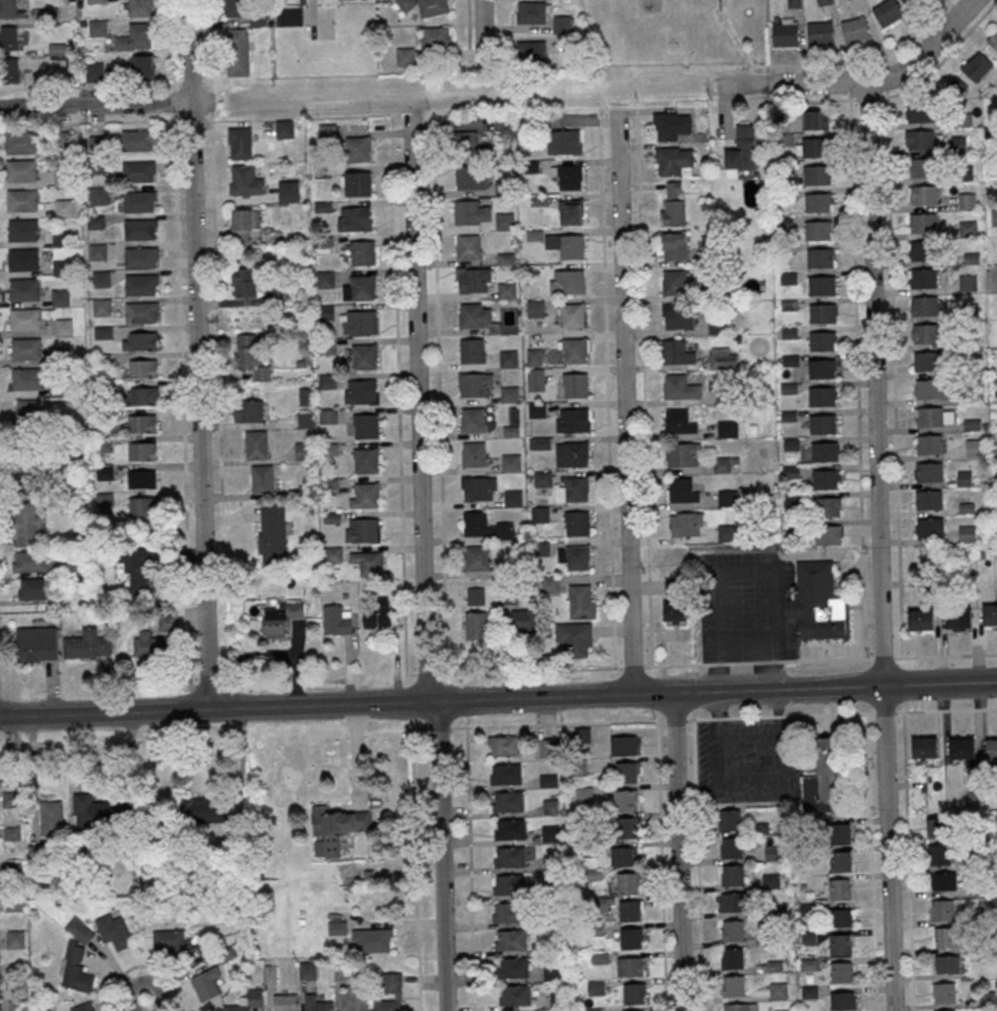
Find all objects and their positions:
building: (97, 1)
building: (913, 1)
building: (824, 2)
park: (721, 5)
building: (426, 6)
park: (650, 6)
building: (140, 7)
building: (237, 8)
building: (10, 9)
building: (63, 10)
building: (532, 12)
building: (888, 12)
building: (291, 17)
building: (562, 24)
road: (469, 27)
building: (855, 30)
park: (679, 31)
building: (820, 33)
building: (785, 34)
building: (139, 35)
road: (481, 36)
building: (9, 37)
building: (436, 37)
building: (993, 40)
road: (208, 44)
road: (172, 45)
building: (59, 48)
building: (532, 50)
building: (238, 51)
building: (405, 56)
road: (943, 58)
road: (869, 60)
building: (144, 66)
building: (977, 66)
building: (9, 70)
building: (95, 71)
road: (862, 82)
road: (206, 83)
road: (191, 84)
road: (90, 86)
road: (867, 98)
road: (816, 99)
road: (210, 101)
road: (174, 103)
road: (95, 105)
building: (920, 111)
road: (192, 119)
building: (816, 119)
road: (207, 120)
road: (178, 121)
road: (87, 123)
building: (671, 125)
building: (285, 129)
building: (64, 139)
building: (137, 139)
building: (921, 140)
building: (564, 141)
building: (20, 142)
building: (240, 143)
building: (470, 143)
building: (813, 147)
building: (358, 148)
building: (741, 150)
building: (674, 160)
building: (924, 167)
building: (22, 170)
building: (139, 171)
building: (818, 175)
building: (472, 177)
building: (570, 177)
building: (245, 181)
building: (357, 183)
building: (504, 186)
building: (289, 191)
building: (924, 195)
building: (99, 196)
building: (22, 200)
building: (539, 200)
building: (967, 200)
building: (140, 202)
building: (819, 202)
building: (673, 204)
building: (64, 207)
building: (571, 211)
building: (470, 212)
building: (994, 217)
building: (355, 218)
building: (505, 220)
building: (96, 221)
building: (923, 222)
building: (245, 223)
building: (968, 227)
building: (140, 228)
building: (818, 229)
building: (23, 230)
building: (61, 237)
building: (566, 245)
building: (674, 245)
building: (468, 246)
building: (923, 250)
building: (98, 251)
building: (362, 253)
building: (141, 256)
building: (821, 258)
building: (24, 259)
building: (62, 267)
building: (923, 278)
building: (101, 279)
building: (326, 279)
building: (474, 280)
building: (569, 281)
building: (674, 282)
building: (246, 283)
building: (141, 284)
building: (822, 286)
building: (363, 287)
building: (25, 289)
building: (506, 289)
building: (61, 297)
building: (925, 306)
building: (101, 307)
building: (536, 307)
building: (141, 312)
building: (327, 312)
building: (822, 314)
building: (470, 315)
building: (572, 315)
road: (216, 316)
building: (679, 316)
building: (25, 319)
building: (361, 322)
road: (181, 323)
building: (64, 326)
building: (103, 332)
building: (926, 333)
building: (141, 341)
building: (822, 341)
building: (26, 348)
building: (472, 350)
building: (575, 350)
building: (677, 352)
road: (197, 355)
building: (251, 356)
building: (364, 356)
building: (534, 357)
building: (508, 358)
building: (103, 361)
building: (928, 361)
building: (144, 368)
building: (822, 369)
road: (893, 376)
building: (28, 378)
road: (857, 378)
building: (536, 379)
building: (327, 380)
building: (476, 384)
building: (576, 385)
road: (644, 386)
building: (678, 387)
building: (934, 389)
building: (363, 391)
building: (509, 394)
building: (145, 395)
building: (306, 396)
road: (439, 397)
building: (822, 397)
road: (626, 402)
building: (31, 409)
building: (537, 409)
building: (248, 411)
building: (328, 416)
building: (929, 416)
building: (306, 419)
building: (473, 419)
building: (573, 420)
building: (679, 422)
building: (142, 423)
building: (823, 424)
building: (366, 426)
building: (728, 429)
building: (541, 442)
building: (104, 444)
building: (256, 444)
building: (930, 444)
building: (974, 448)
building: (303, 450)
building: (142, 451)
building: (825, 452)
building: (474, 454)
building: (572, 454)
building: (681, 455)
building: (366, 460)
building: (511, 463)
building: (33, 465)
building: (105, 472)
building: (930, 472)
building: (543, 478)
building: (142, 479)
building: (262, 479)
building: (825, 479)
building: (479, 488)
building: (573, 489)
building: (682, 490)
building: (365, 495)
building: (513, 497)
building: (726, 497)
building: (929, 499)
building: (142, 506)
road: (401, 506)
building: (828, 507)
building: (539, 514)
road: (610, 514)
road: (231, 517)
building: (475, 523)
building: (577, 523)
building: (684, 523)
building: (929, 527)
building: (27, 528)
building: (366, 530)
building: (273, 534)
building: (828, 535)
road: (878, 546)
building: (332, 554)
building: (477, 557)
building: (574, 557)
building: (32, 561)
building: (368, 563)
road: (423, 566)
building: (138, 568)
building: (550, 584)
building: (34, 588)
building: (475, 596)
building: (582, 601)
building: (818, 603)
parking lot: (746, 606)
building: (675, 611)
building: (379, 614)
building: (990, 614)
building: (280, 617)
building: (959, 618)
building: (336, 620)
building: (523, 620)
building: (921, 620)
building: (476, 625)
building: (575, 638)
building: (37, 644)
building: (88, 644)
building: (153, 645)
road: (930, 655)
road: (835, 689)
road: (654, 696)
road: (317, 707)
road: (701, 718)
building: (582, 736)
road: (31, 743)
building: (503, 745)
building: (625, 745)
building: (547, 747)
building: (926, 747)
building: (991, 748)
building: (962, 749)
building: (627, 772)
building: (506, 773)
road: (33, 778)
building: (823, 778)
building: (584, 795)
building: (973, 796)
building: (626, 800)
building: (508, 801)
building: (550, 806)
building: (204, 810)
building: (94, 812)
building: (51, 817)
building: (729, 819)
building: (625, 827)
building: (936, 827)
building: (336, 829)
building: (510, 829)
building: (551, 833)
building: (841, 833)
building: (731, 847)
road: (677, 853)
building: (939, 854)
building: (510, 856)
building: (624, 856)
building: (840, 860)
road: (907, 861)
road: (871, 862)
road: (697, 865)
road: (661, 866)
road: (470, 869)
road: (416, 870)
building: (732, 875)
building: (943, 881)
building: (628, 882)
building: (509, 884)
building: (840, 888)
building: (730, 902)
building: (14, 903)
building: (942, 909)
building: (630, 910)
building: (508, 912)
building: (842, 917)
building: (336, 927)
building: (732, 930)
building: (116, 933)
building: (631, 937)
building: (811, 937)
building: (944, 937)
building: (15, 939)
building: (373, 939)
building: (511, 939)
building: (172, 941)
building: (840, 944)
building: (204, 950)
building: (732, 958)
building: (947, 964)
building: (631, 966)
building: (513, 967)
building: (76, 969)
building: (307, 970)
building: (552, 971)
building: (842, 971)
building: (391, 982)
building: (206, 984)
building: (732, 985)
building: (595, 988)
building: (778, 990)
building: (943, 992)
building: (634, 993)
building: (515, 995)
building: (354, 998)
building: (843, 1000)
building: (247, 1001)
building: (285, 1002)
building: (316, 1004)
building: (18, 1005)
road: (148, 1005)
building: (84, 1007)
building: (740, 1007)
building: (0, 1008)
building: (634, 1010)
building: (781, 1010)
building: (948, 1010)

